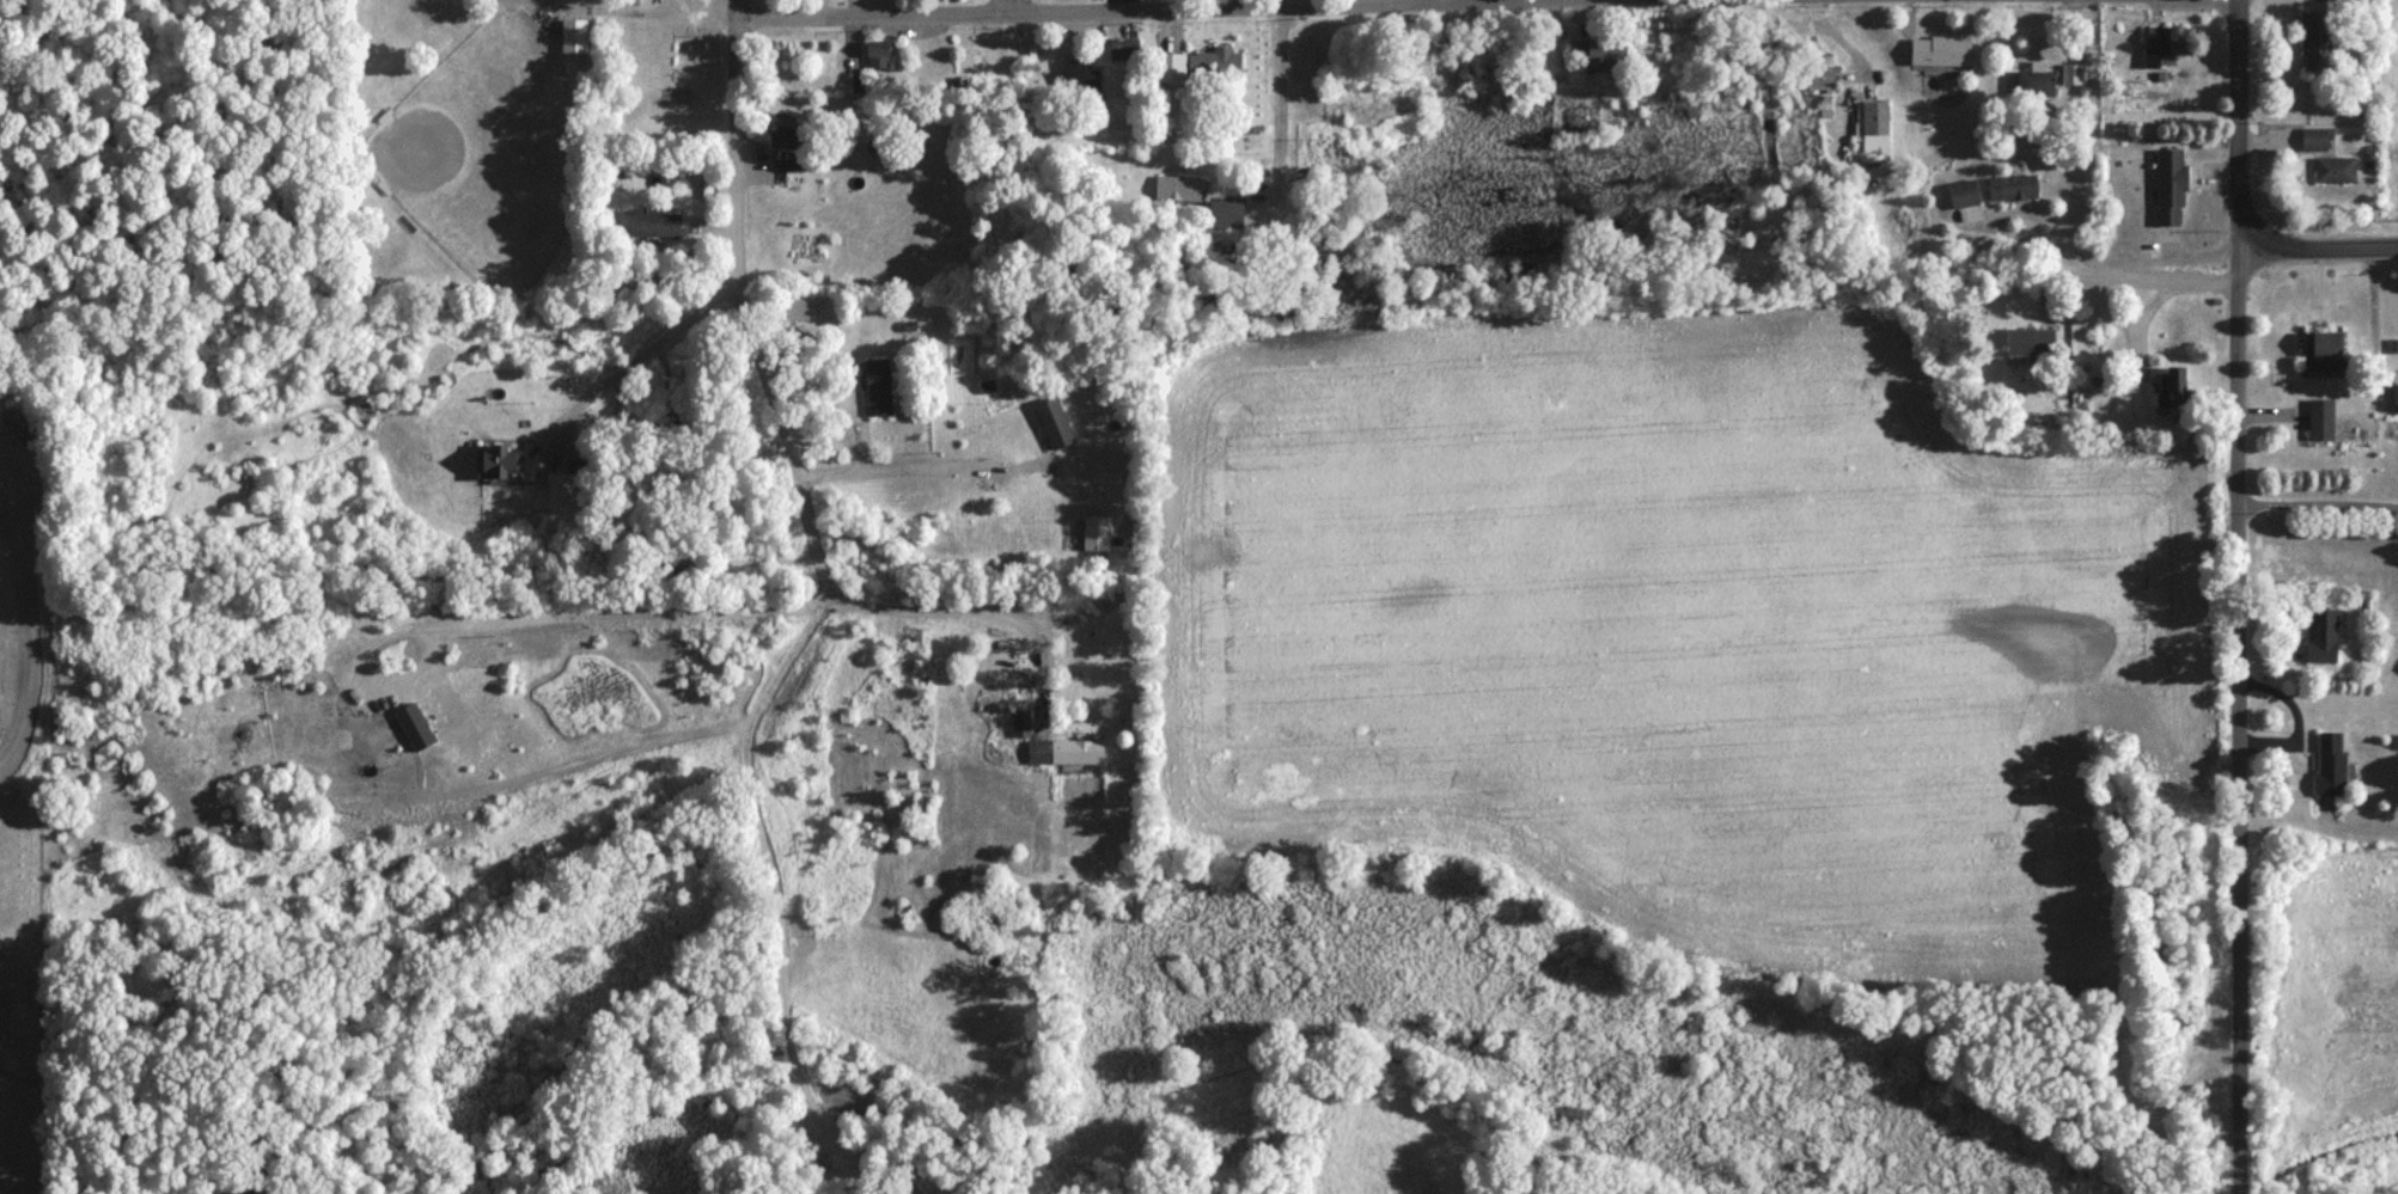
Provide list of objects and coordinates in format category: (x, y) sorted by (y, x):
road: (1550, 0)
road: (1011, 4)
road: (1174, 8)
road: (660, 10)
building: (572, 38)
building: (2315, 42)
building: (2166, 44)
building: (1595, 51)
building: (1939, 53)
building: (1216, 67)
building: (1169, 69)
building: (1819, 73)
building: (2070, 74)
building: (1075, 80)
building: (2033, 85)
building: (958, 86)
road: (1280, 106)
road: (2239, 125)
building: (1872, 127)
building: (780, 137)
building: (2315, 141)
park: (487, 152)
building: (2333, 171)
building: (2167, 188)
building: (2010, 189)
building: (1176, 190)
building: (1961, 195)
building: (1224, 216)
building: (653, 224)
road: (2048, 238)
road: (2320, 250)
road: (2171, 257)
road: (745, 299)
building: (2027, 343)
road: (643, 348)
building: (2325, 350)
building: (877, 388)
building: (2173, 388)
building: (2319, 422)
building: (1052, 425)
building: (495, 463)
road: (910, 464)
road: (2320, 500)
road: (960, 605)
building: (2320, 637)
road: (35, 641)
building: (1020, 722)
road: (2243, 723)
building: (1063, 751)
building: (2329, 763)
road: (769, 886)

